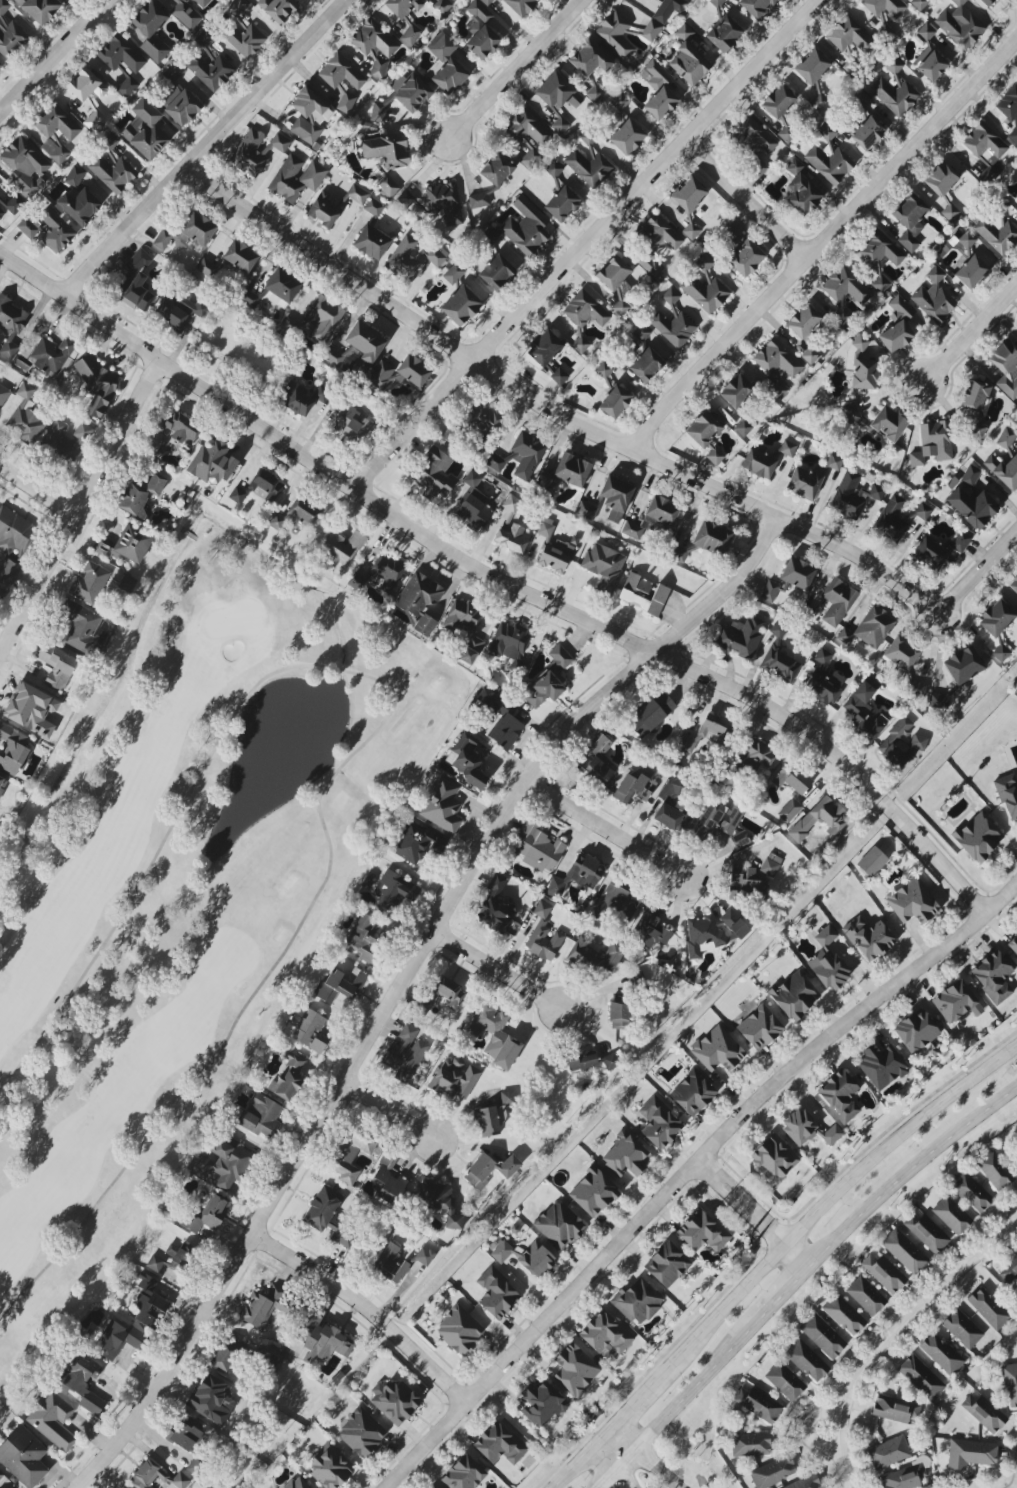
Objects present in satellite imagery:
building: (486, 2)
building: (716, 3)
building: (919, 3)
building: (442, 5)
building: (520, 6)
building: (755, 7)
building: (884, 7)
building: (39, 9)
building: (278, 9)
building: (404, 9)
building: (670, 9)
building: (189, 12)
road: (91, 18)
building: (960, 25)
building: (151, 31)
building: (241, 31)
building: (481, 31)
building: (651, 31)
building: (926, 32)
building: (9, 33)
building: (724, 33)
building: (411, 35)
building: (615, 35)
building: (848, 36)
building: (204, 39)
building: (375, 46)
building: (121, 55)
building: (590, 59)
building: (688, 59)
building: (0, 65)
building: (445, 65)
building: (932, 66)
building: (812, 67)
road: (518, 69)
building: (210, 71)
building: (340, 73)
road: (36, 74)
building: (172, 74)
building: (85, 85)
building: (127, 87)
building: (658, 90)
building: (895, 90)
building: (595, 94)
building: (403, 98)
building: (860, 100)
building: (345, 101)
building: (620, 102)
building: (778, 102)
building: (819, 102)
building: (1008, 106)
building: (183, 108)
building: (307, 116)
building: (94, 120)
building: (526, 128)
building: (145, 131)
building: (56, 132)
building: (868, 133)
building: (627, 137)
building: (280, 143)
building: (752, 143)
road: (205, 147)
building: (985, 149)
building: (387, 150)
building: (249, 154)
building: (829, 158)
building: (531, 159)
building: (588, 165)
building: (25, 167)
building: (112, 167)
building: (497, 169)
building: (554, 169)
building: (313, 174)
building: (74, 177)
building: (941, 179)
building: (386, 185)
building: (800, 190)
building: (357, 194)
building: (689, 195)
building: (478, 200)
building: (444, 202)
road: (744, 202)
building: (13, 204)
building: (562, 204)
building: (79, 206)
building: (373, 207)
building: (323, 210)
building: (1, 213)
building: (952, 214)
building: (910, 222)
building: (526, 227)
building: (47, 229)
building: (691, 231)
building: (186, 233)
building: (730, 233)
building: (486, 236)
building: (997, 236)
building: (966, 240)
road: (824, 241)
building: (371, 243)
building: (655, 243)
road: (584, 244)
building: (240, 257)
building: (432, 258)
building: (746, 259)
building: (453, 273)
building: (496, 273)
building: (613, 273)
building: (971, 273)
building: (138, 282)
building: (705, 286)
building: (282, 287)
building: (846, 287)
building: (934, 298)
building: (248, 299)
building: (621, 305)
building: (461, 306)
building: (180, 311)
building: (841, 316)
building: (324, 319)
building: (803, 321)
building: (673, 322)
building: (897, 325)
building: (290, 329)
road: (972, 332)
building: (641, 333)
building: (860, 344)
building: (365, 345)
building: (547, 355)
building: (50, 357)
building: (332, 357)
building: (645, 365)
building: (777, 366)
building: (1006, 368)
building: (603, 370)
building: (399, 374)
building: (97, 386)
building: (736, 391)
building: (3, 394)
building: (321, 394)
building: (974, 396)
building: (297, 400)
building: (614, 402)
road: (553, 410)
building: (25, 418)
building: (485, 422)
building: (878, 422)
building: (350, 424)
building: (179, 428)
building: (743, 428)
building: (703, 430)
building: (977, 431)
building: (1006, 438)
building: (64, 443)
building: (932, 444)
building: (788, 449)
building: (526, 455)
building: (715, 457)
building: (212, 463)
building: (759, 463)
building: (1003, 471)
building: (563, 474)
building: (970, 476)
building: (436, 477)
building: (810, 479)
building: (265, 486)
road: (37, 491)
building: (853, 495)
building: (141, 496)
building: (614, 498)
building: (473, 504)
building: (972, 507)
road: (77, 510)
building: (586, 511)
building: (301, 515)
building: (653, 518)
building: (898, 519)
building: (510, 530)
building: (13, 532)
building: (712, 538)
building: (960, 542)
building: (125, 546)
building: (343, 547)
building: (553, 548)
road: (440, 549)
building: (929, 553)
building: (677, 554)
building: (604, 566)
road: (982, 568)
building: (386, 571)
building: (7, 573)
building: (789, 579)
building: (89, 583)
building: (127, 584)
building: (1013, 585)
building: (643, 594)
building: (419, 602)
building: (836, 602)
building: (1016, 608)
building: (996, 619)
building: (79, 625)
building: (464, 629)
building: (869, 629)
building: (778, 630)
building: (741, 636)
building: (509, 642)
building: (1001, 653)
building: (901, 654)
building: (780, 665)
building: (963, 665)
building: (56, 666)
building: (516, 667)
building: (550, 679)
building: (824, 679)
building: (915, 690)
building: (938, 701)
building: (864, 711)
building: (650, 714)
building: (503, 718)
building: (715, 727)
building: (903, 742)
building: (687, 745)
building: (13, 750)
road: (359, 751)
building: (756, 756)
building: (467, 761)
building: (599, 762)
building: (791, 779)
building: (2, 784)
building: (634, 784)
building: (1008, 796)
building: (442, 806)
building: (672, 808)
building: (789, 810)
building: (819, 819)
building: (716, 820)
road: (604, 829)
building: (978, 837)
building: (739, 839)
building: (416, 842)
building: (538, 848)
building: (871, 862)
road: (941, 862)
building: (771, 864)
building: (577, 876)
building: (747, 883)
park: (183, 886)
building: (394, 891)
building: (619, 900)
building: (912, 902)
building: (495, 906)
building: (542, 910)
building: (734, 924)
building: (650, 930)
building: (703, 936)
building: (363, 938)
building: (868, 938)
building: (544, 941)
building: (1013, 943)
building: (594, 956)
building: (828, 961)
road: (497, 971)
building: (993, 977)
road: (401, 981)
building: (340, 985)
building: (443, 994)
building: (795, 996)
building: (956, 1002)
building: (619, 1013)
building: (759, 1028)
building: (306, 1030)
building: (916, 1032)
building: (495, 1036)
building: (717, 1050)
building: (405, 1055)
building: (580, 1059)
building: (609, 1062)
building: (881, 1066)
building: (288, 1078)
building: (454, 1079)
building: (692, 1094)
building: (839, 1096)
road: (386, 1112)
building: (261, 1116)
building: (490, 1120)
building: (658, 1123)
building: (807, 1129)
building: (626, 1156)
building: (350, 1157)
building: (773, 1158)
building: (224, 1163)
road: (707, 1168)
building: (489, 1170)
building: (995, 1170)
road: (689, 1171)
building: (389, 1180)
road: (733, 1184)
building: (970, 1192)
building: (593, 1193)
road: (723, 1193)
building: (439, 1202)
road: (743, 1203)
road: (758, 1212)
building: (211, 1215)
building: (327, 1215)
building: (951, 1216)
road: (753, 1217)
building: (559, 1225)
building: (702, 1232)
building: (927, 1233)
road: (788, 1244)
building: (500, 1251)
building: (904, 1251)
road: (773, 1254)
building: (424, 1257)
building: (536, 1260)
building: (172, 1262)
building: (391, 1264)
building: (667, 1265)
road: (798, 1274)
building: (884, 1274)
building: (1011, 1274)
road: (323, 1280)
building: (496, 1294)
building: (866, 1296)
building: (637, 1302)
building: (149, 1303)
building: (260, 1308)
building: (988, 1308)
building: (844, 1315)
building: (962, 1329)
building: (459, 1331)
building: (605, 1335)
building: (823, 1336)
road: (890, 1336)
building: (116, 1340)
building: (325, 1340)
building: (941, 1354)
building: (227, 1355)
building: (266, 1359)
building: (807, 1361)
road: (429, 1367)
building: (575, 1370)
building: (921, 1378)
building: (785, 1381)
building: (84, 1383)
building: (1010, 1384)
building: (208, 1396)
building: (394, 1401)
building: (542, 1404)
building: (758, 1404)
building: (896, 1410)
building: (983, 1412)
building: (52, 1420)
building: (362, 1433)
building: (185, 1436)
building: (751, 1444)
building: (499, 1445)
building: (888, 1453)
building: (970, 1454)
road: (647, 1456)
building: (23, 1457)
building: (330, 1467)
road: (610, 1468)
building: (773, 1472)
building: (464, 1474)
building: (904, 1477)
building: (157, 1478)
building: (4, 1483)
building: (297, 1483)
building: (806, 1483)
building: (433, 1487)

